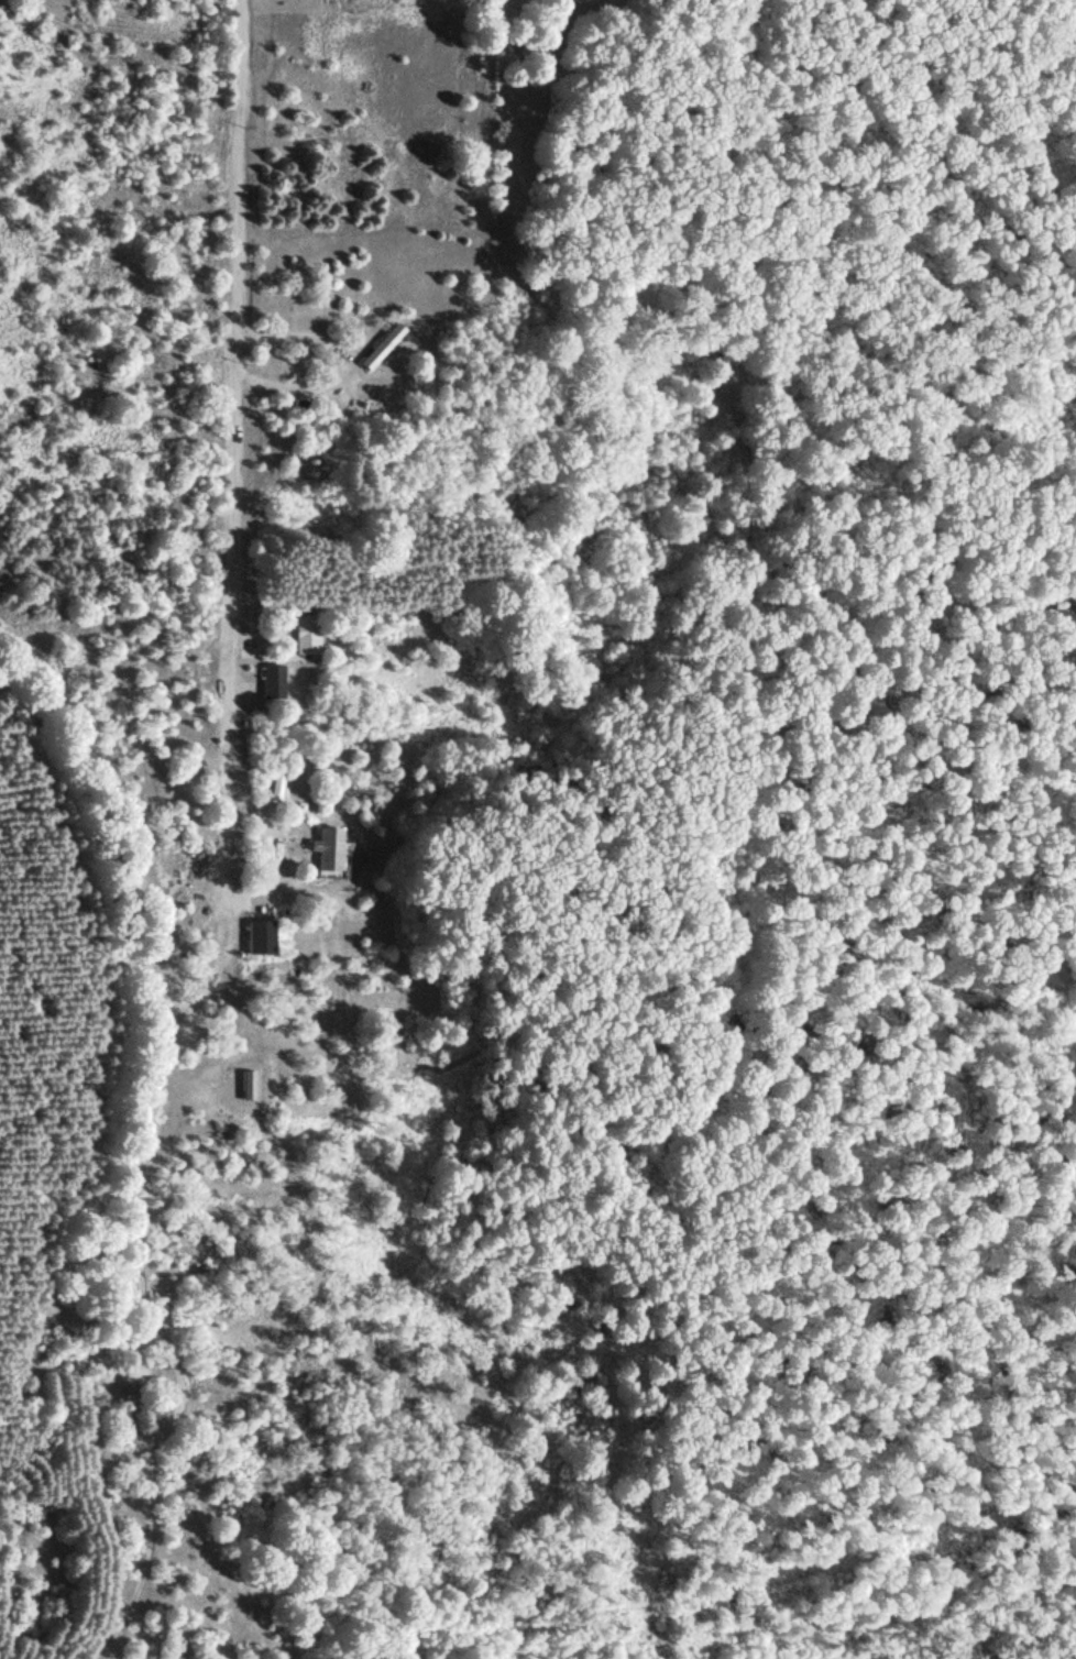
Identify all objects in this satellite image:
building: (381, 344)
road: (239, 475)
building: (306, 633)
building: (271, 679)
building: (327, 847)
building: (259, 935)
road: (153, 1116)

